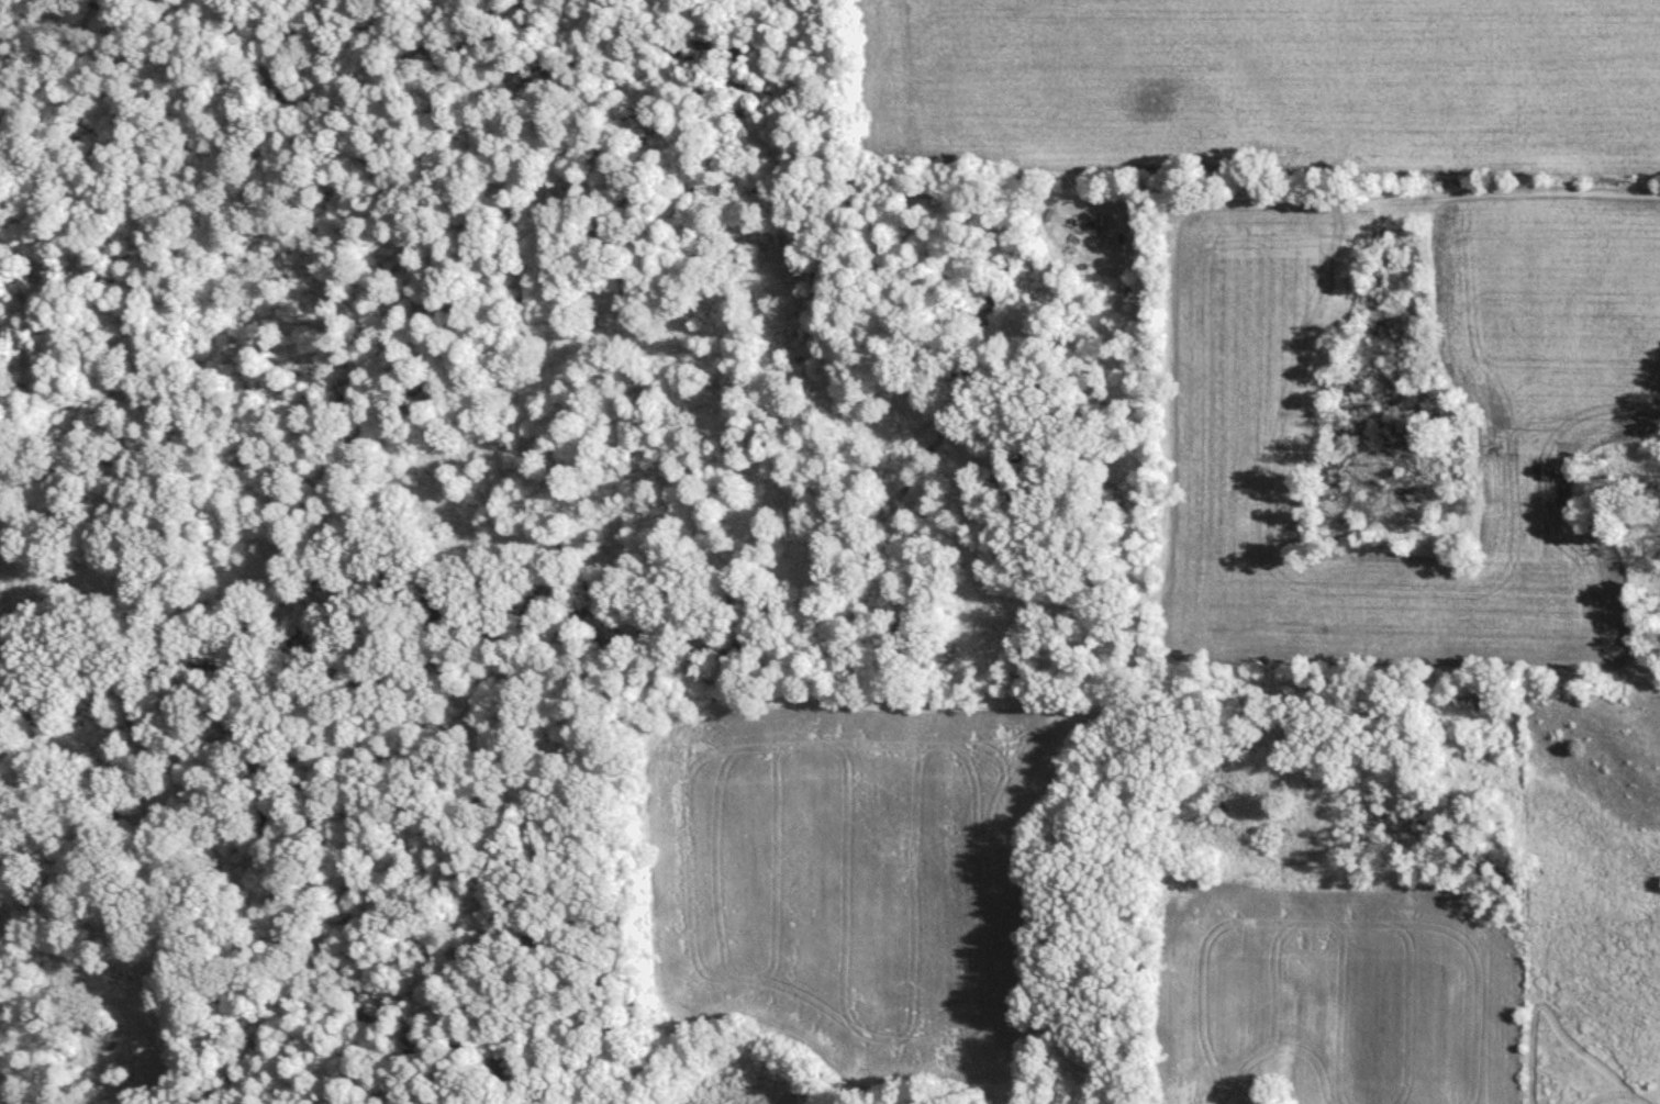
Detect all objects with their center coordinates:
building: (903, 628)

